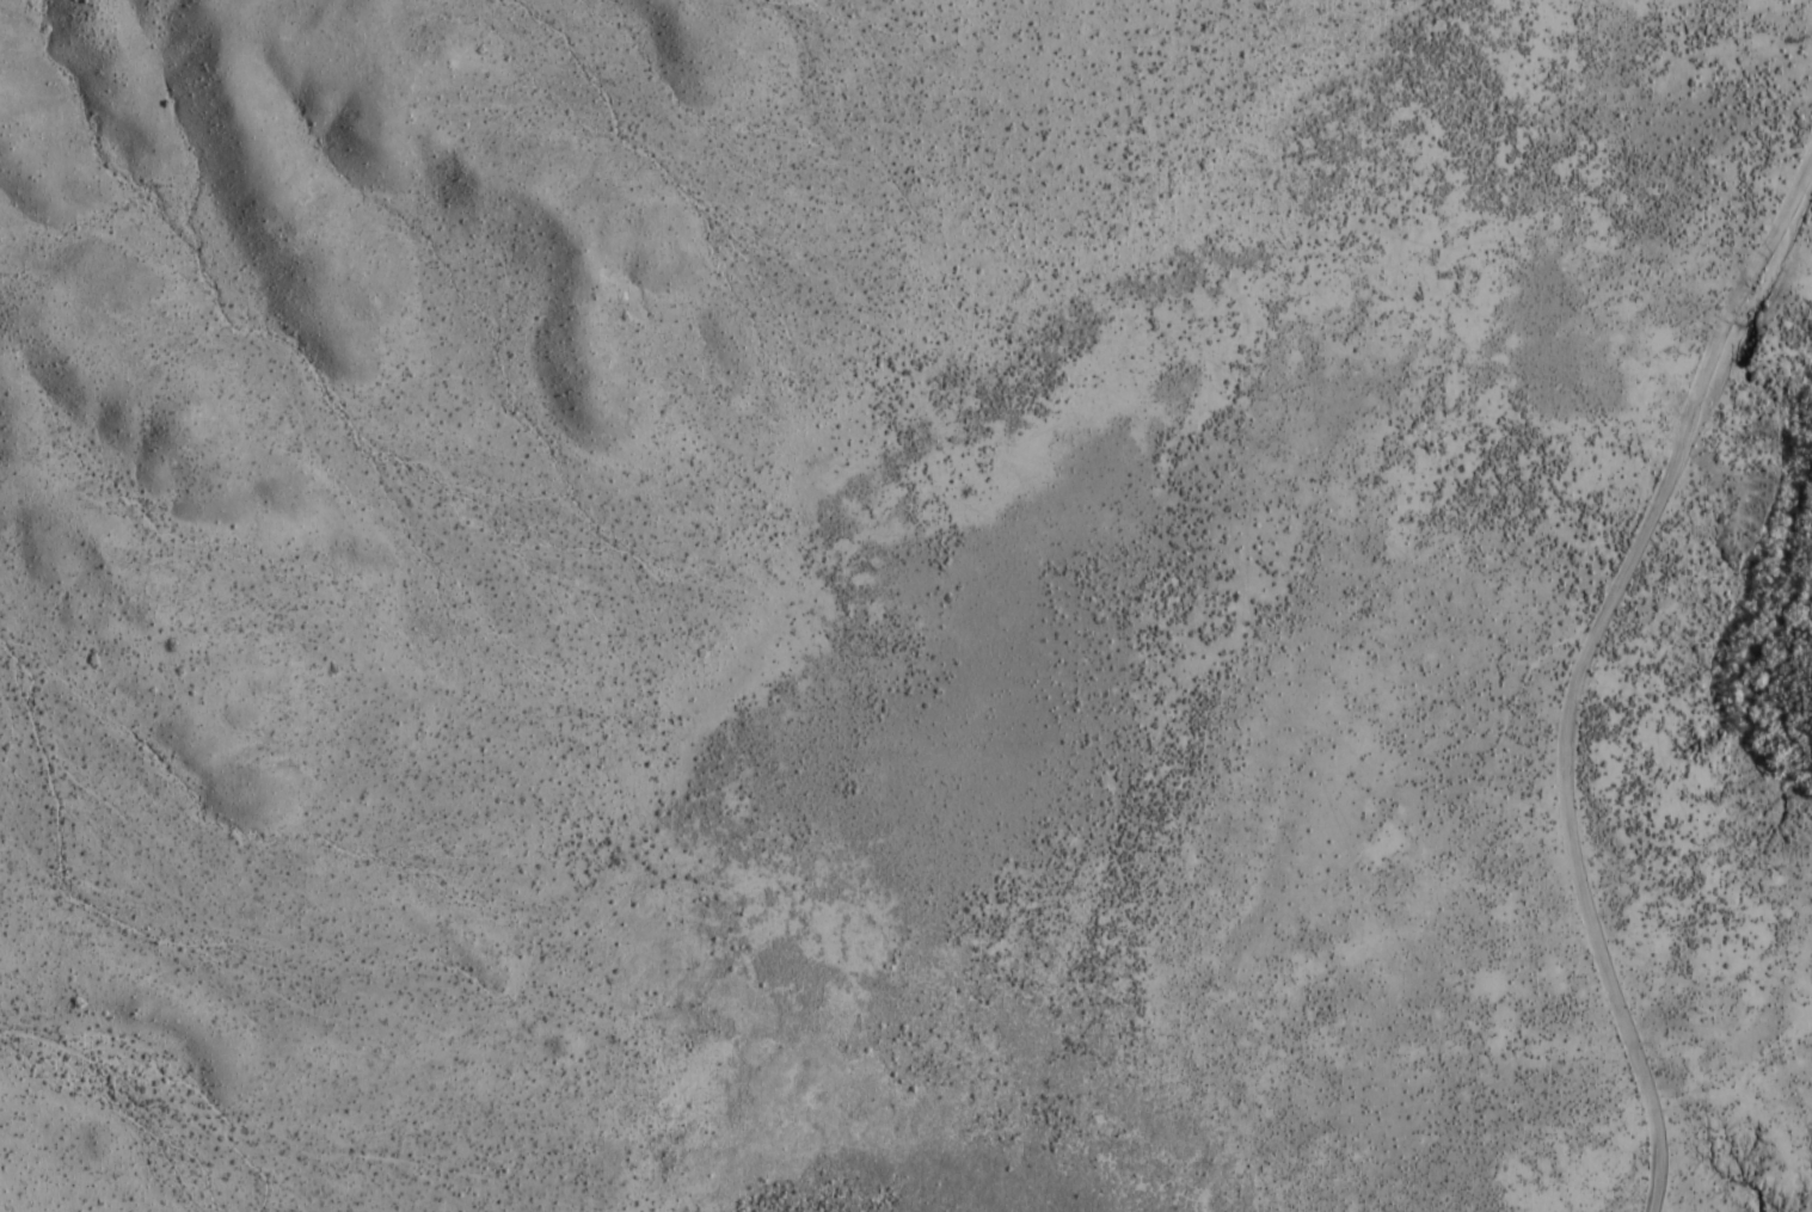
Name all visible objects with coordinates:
road: (1575, 672)

